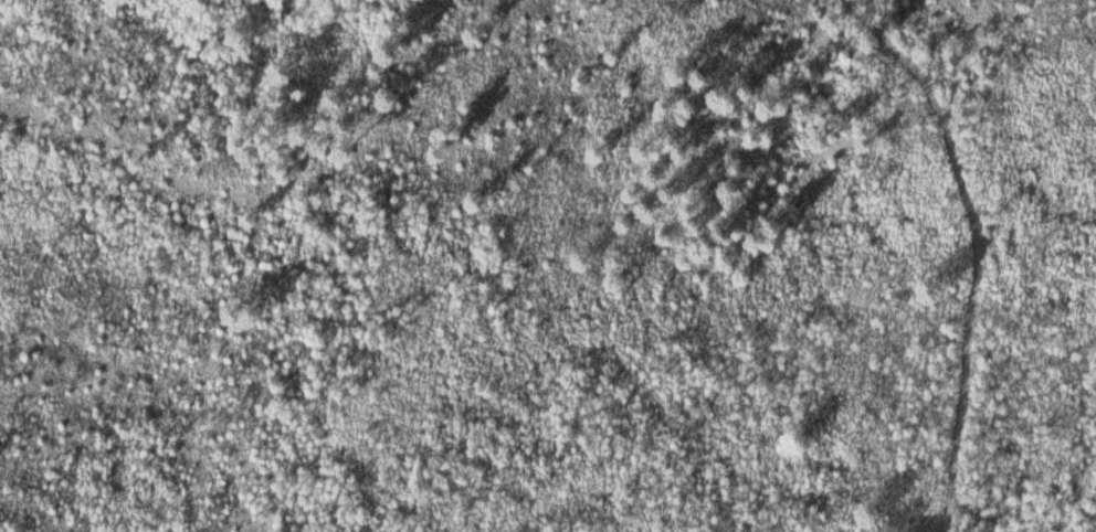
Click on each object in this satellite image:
road: (962, 247)

